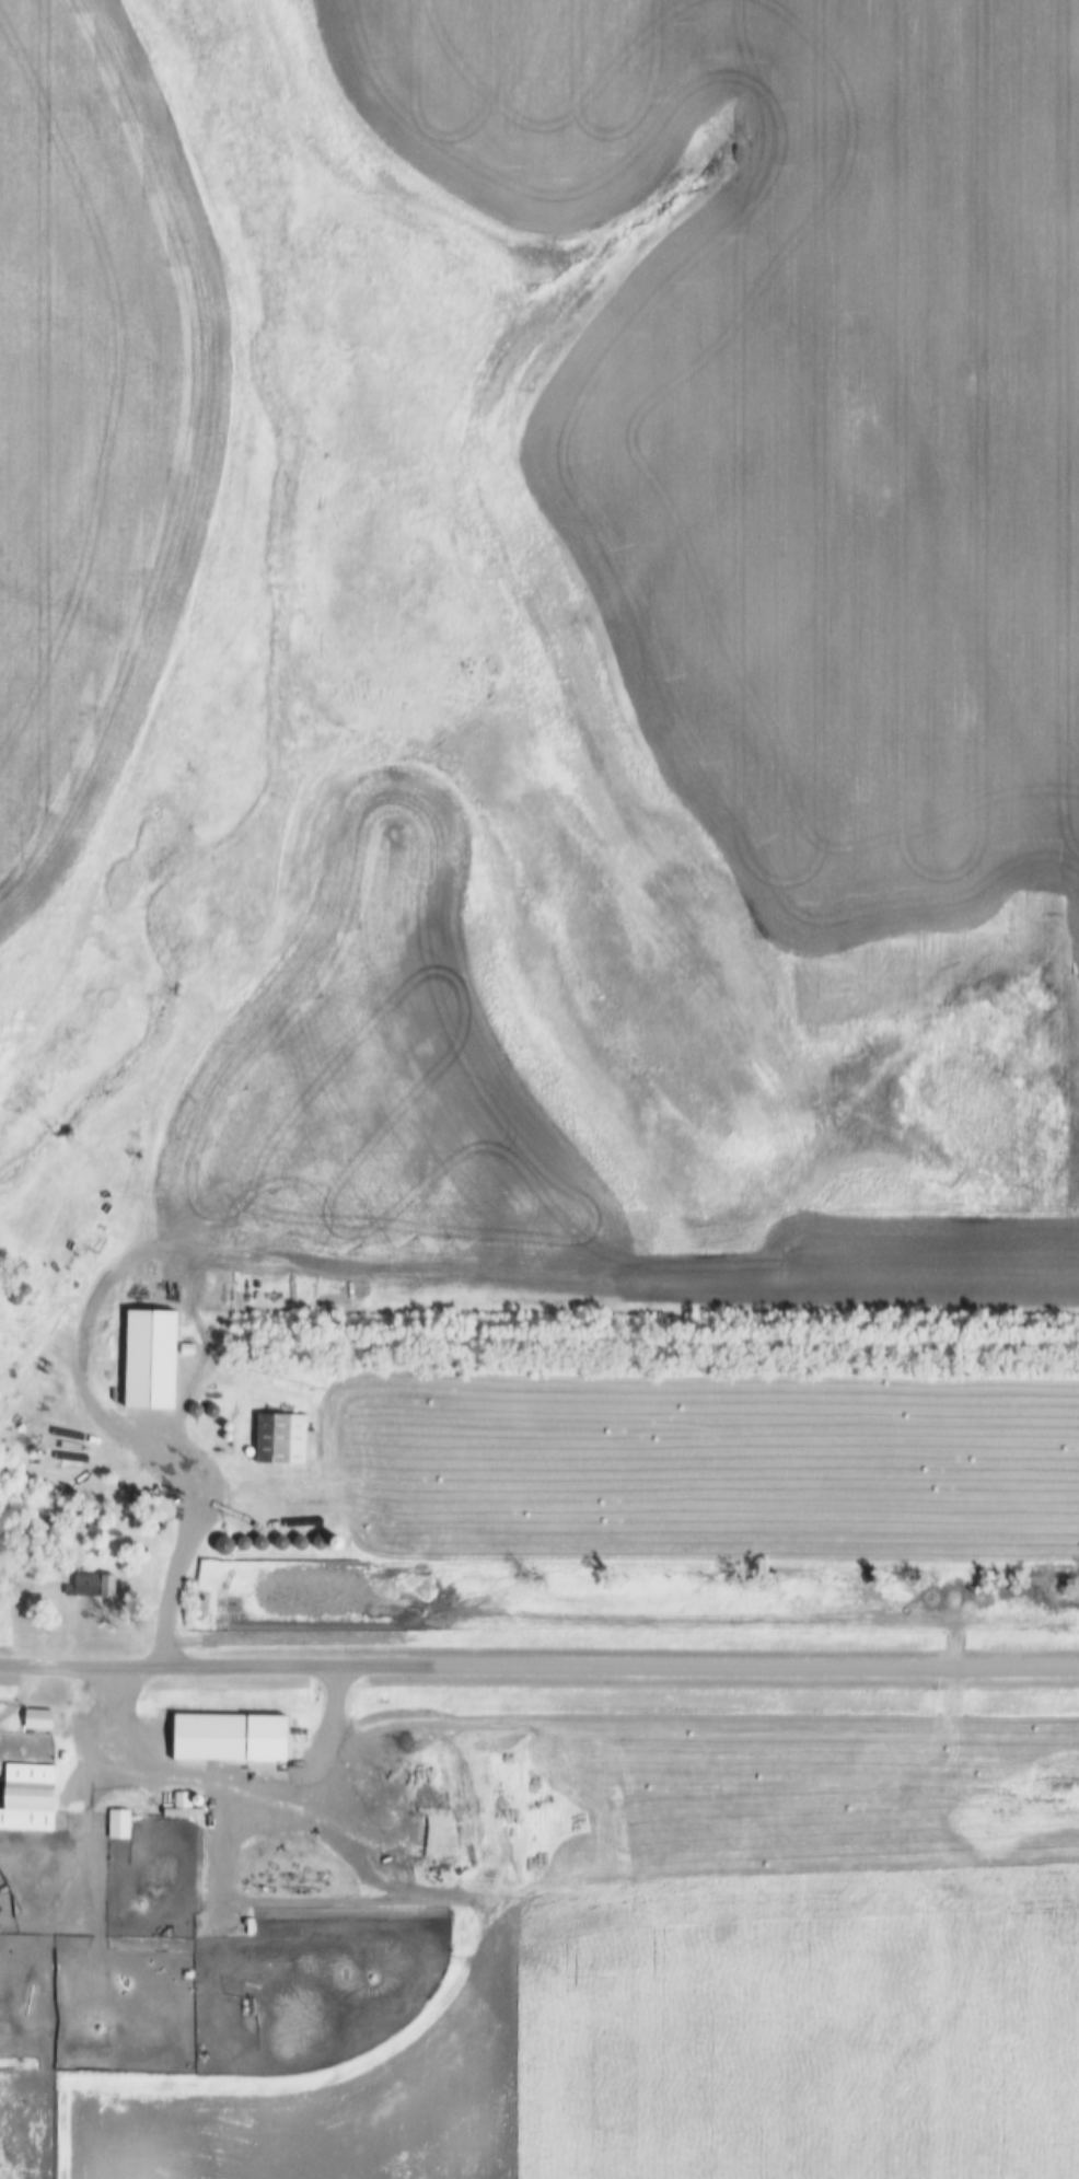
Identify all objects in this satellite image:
building: (283, 1440)
road: (216, 1496)
building: (94, 1587)
road: (538, 1667)
building: (42, 1722)
building: (235, 1739)
road: (86, 1765)
building: (32, 1800)
building: (121, 1827)

